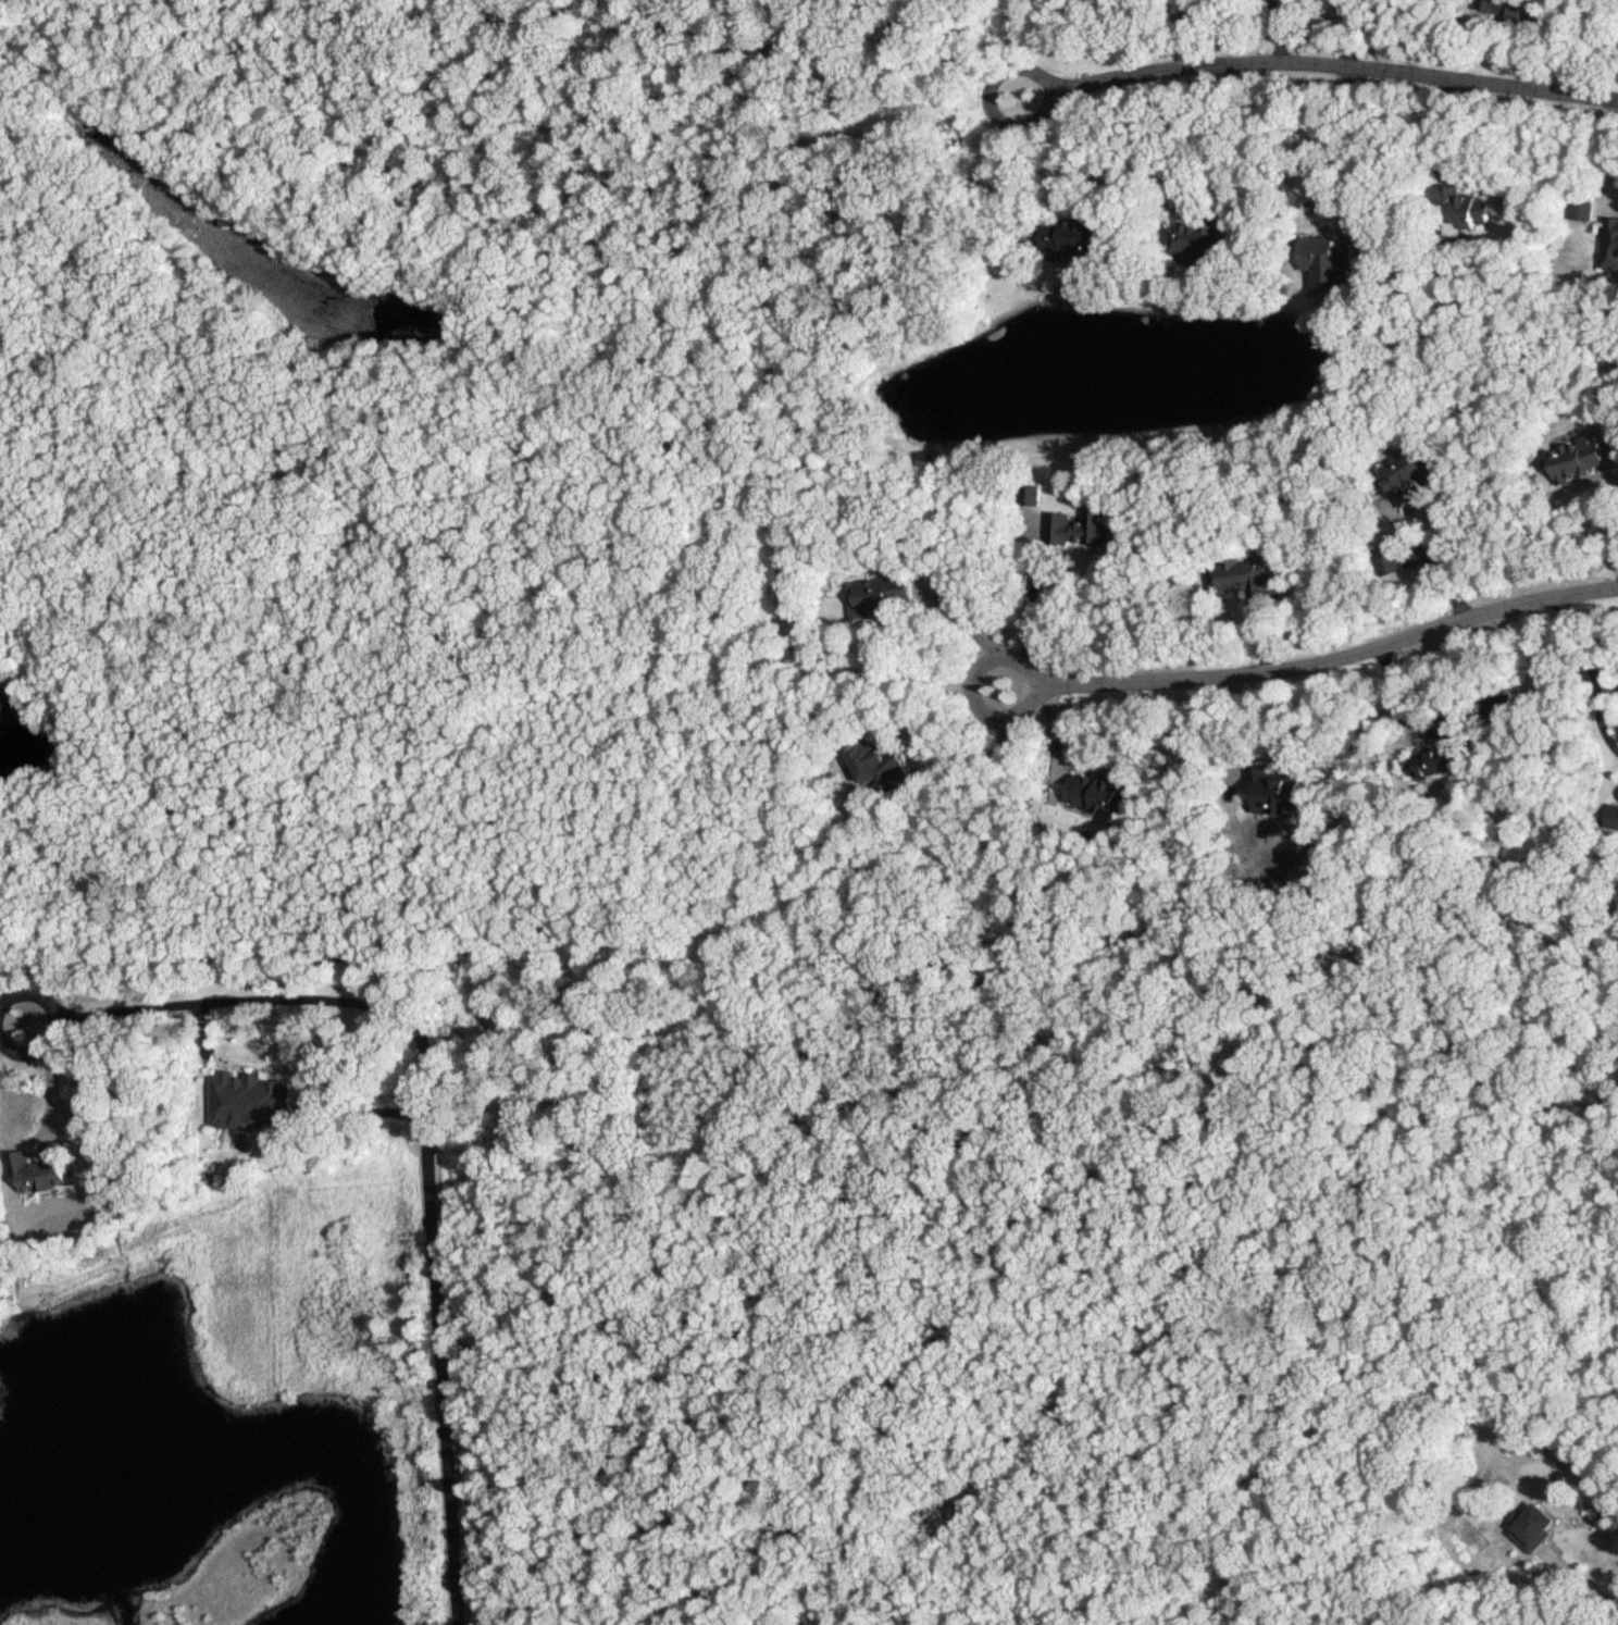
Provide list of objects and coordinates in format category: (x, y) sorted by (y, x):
building: (1505, 9)
road: (1306, 60)
road: (1222, 141)
road: (1020, 165)
building: (1470, 211)
building: (1075, 236)
building: (1194, 238)
building: (1611, 243)
building: (1321, 262)
building: (1581, 456)
building: (1412, 471)
building: (1035, 521)
building: (1087, 528)
building: (1390, 560)
building: (1245, 573)
building: (884, 595)
road: (1032, 598)
road: (1568, 638)
road: (1336, 658)
road: (1606, 679)
road: (971, 685)
road: (1596, 717)
building: (1440, 760)
building: (879, 762)
building: (1277, 790)
building: (1099, 792)
road: (1, 1026)
road: (0, 1035)
building: (238, 1108)
road: (423, 1151)
building: (45, 1174)
road: (1578, 1578)

